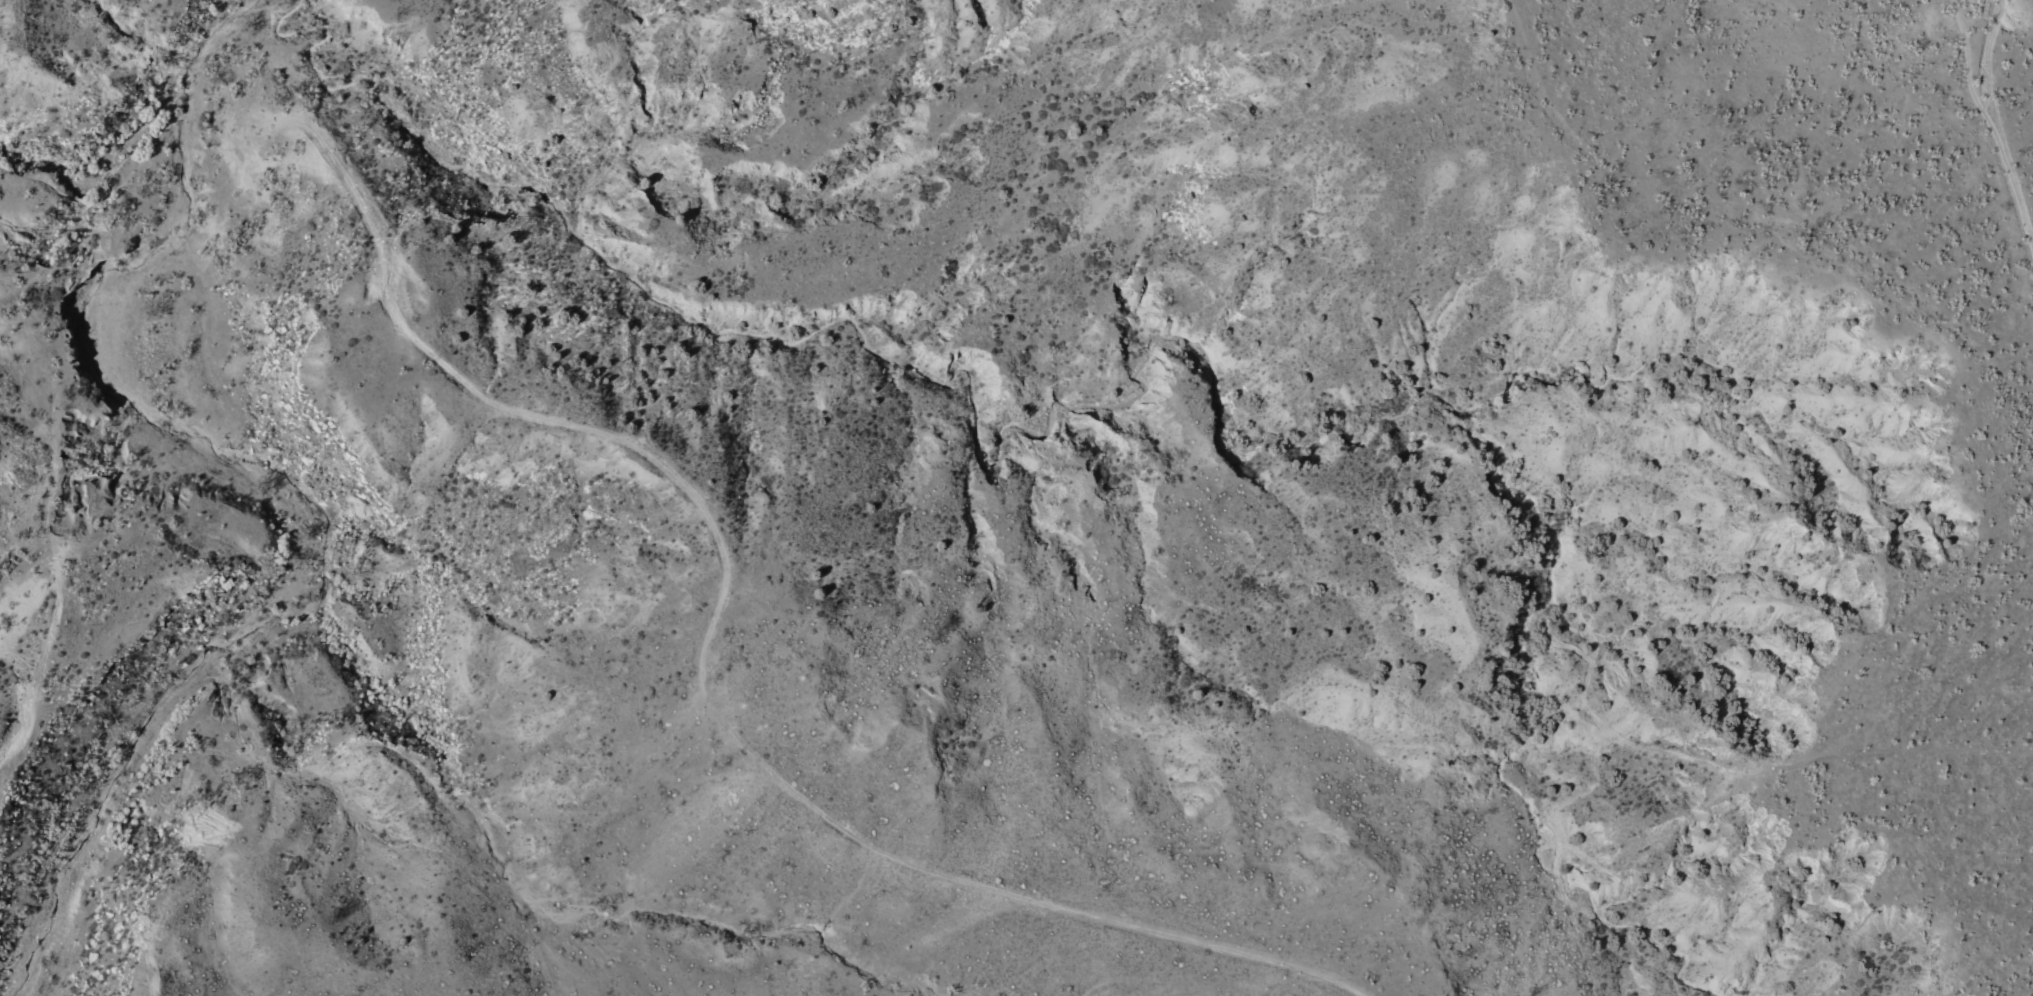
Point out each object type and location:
road: (1992, 129)

